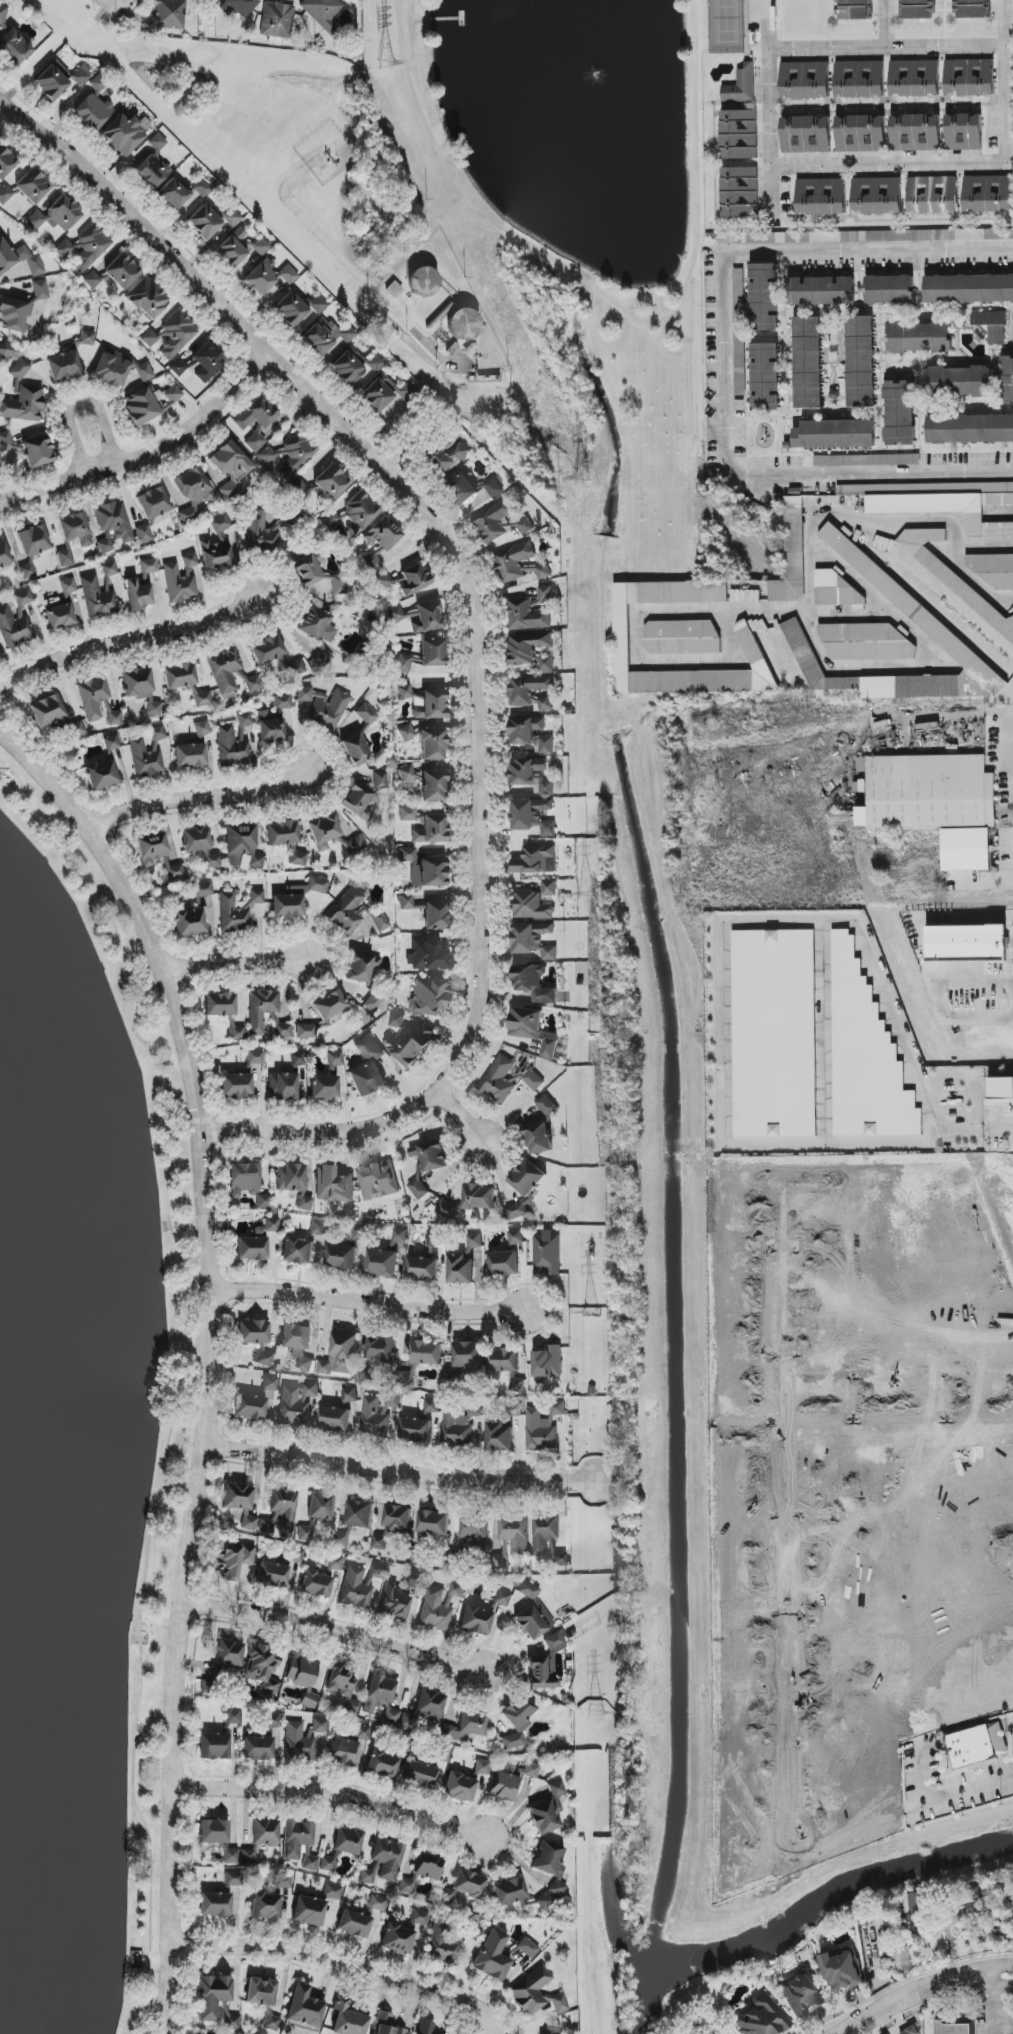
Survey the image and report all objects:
building: (239, 6)
building: (919, 9)
building: (971, 9)
building: (853, 10)
building: (322, 13)
building: (3, 14)
building: (167, 15)
pier: (461, 19)
pier: (444, 20)
road: (418, 21)
building: (277, 22)
road: (1001, 24)
road: (886, 25)
road: (410, 34)
building: (14, 48)
road: (884, 50)
power tower: (386, 65)
building: (970, 77)
building: (915, 78)
building: (60, 79)
building: (860, 79)
building: (805, 80)
building: (740, 84)
building: (93, 106)
road: (768, 106)
fountain: (583, 110)
building: (739, 132)
building: (964, 132)
building: (873, 133)
building: (916, 133)
building: (124, 134)
building: (848, 134)
building: (806, 135)
park: (572, 140)
building: (6, 162)
road: (1008, 162)
road: (943, 164)
building: (26, 188)
building: (739, 189)
building: (988, 194)
building: (182, 195)
building: (933, 195)
building: (877, 196)
building: (821, 197)
building: (56, 215)
building: (231, 217)
building: (204, 222)
building: (866, 236)
building: (260, 246)
building: (91, 247)
building: (64, 249)
building: (232, 249)
building: (19, 259)
building: (115, 273)
building: (268, 277)
building: (422, 282)
building: (968, 289)
building: (40, 290)
building: (890, 290)
building: (821, 291)
building: (764, 297)
building: (147, 298)
road: (609, 299)
building: (297, 308)
building: (14, 315)
building: (989, 318)
building: (464, 325)
building: (740, 328)
building: (171, 333)
building: (996, 335)
building: (325, 337)
building: (87, 338)
building: (919, 338)
building: (5, 350)
road: (723, 360)
building: (807, 362)
building: (860, 362)
building: (63, 366)
building: (355, 366)
building: (119, 369)
building: (765, 376)
building: (1008, 380)
building: (958, 381)
building: (378, 393)
building: (173, 394)
building: (22, 399)
road: (78, 404)
building: (142, 406)
building: (899, 413)
building: (257, 414)
road: (200, 422)
building: (970, 429)
building: (835, 434)
building: (5, 441)
building: (255, 441)
building: (37, 451)
building: (289, 454)
building: (446, 455)
building: (229, 459)
building: (866, 460)
road: (57, 482)
building: (331, 482)
power tower: (581, 482)
building: (492, 487)
building: (298, 488)
building: (462, 489)
building: (230, 490)
building: (192, 492)
building: (939, 502)
building: (153, 503)
building: (359, 511)
building: (114, 520)
building: (330, 520)
road: (878, 527)
building: (75, 529)
building: (260, 533)
building: (144, 534)
building: (383, 534)
building: (33, 540)
building: (105, 545)
road: (984, 545)
building: (217, 546)
road: (956, 546)
building: (4, 555)
building: (792, 555)
building: (65, 558)
building: (372, 562)
building: (514, 562)
building: (148, 568)
building: (109, 569)
building: (308, 569)
building: (869, 569)
building: (989, 570)
building: (543, 571)
building: (952, 576)
building: (181, 580)
building: (412, 580)
building: (383, 581)
building: (338, 583)
building: (68, 586)
road: (983, 587)
building: (836, 590)
building: (545, 594)
building: (138, 595)
building: (745, 596)
building: (97, 598)
road: (803, 612)
building: (528, 615)
building: (60, 616)
building: (420, 617)
road: (636, 619)
building: (315, 624)
building: (14, 629)
road: (480, 633)
building: (682, 637)
road: (128, 640)
building: (866, 642)
building: (952, 644)
building: (527, 647)
building: (267, 650)
building: (753, 650)
building: (432, 653)
building: (322, 658)
building: (814, 662)
building: (403, 663)
building: (547, 664)
road: (937, 667)
building: (224, 669)
building: (295, 669)
building: (179, 676)
building: (254, 684)
building: (140, 688)
building: (404, 691)
building: (532, 692)
building: (93, 696)
building: (203, 698)
building: (430, 705)
building: (104, 708)
building: (324, 708)
building: (47, 711)
building: (365, 713)
building: (115, 718)
building: (244, 719)
building: (275, 721)
building: (202, 729)
building: (406, 733)
building: (532, 734)
building: (156, 736)
building: (110, 742)
building: (432, 745)
building: (232, 748)
building: (355, 750)
building: (190, 756)
building: (145, 759)
road: (1009, 774)
building: (101, 775)
building: (531, 775)
building: (408, 776)
building: (379, 780)
building: (433, 786)
road: (194, 798)
building: (357, 802)
building: (934, 803)
building: (407, 814)
building: (532, 816)
building: (431, 830)
building: (282, 833)
building: (332, 836)
building: (200, 845)
building: (241, 847)
building: (152, 848)
building: (406, 855)
building: (296, 856)
building: (535, 860)
building: (175, 872)
building: (429, 873)
road: (988, 882)
building: (549, 888)
power tower: (587, 894)
building: (256, 896)
building: (296, 899)
building: (406, 902)
building: (530, 906)
building: (233, 914)
building: (435, 915)
building: (351, 916)
building: (189, 923)
building: (530, 937)
building: (549, 953)
building: (426, 955)
road: (234, 960)
road: (724, 965)
building: (359, 967)
building: (533, 983)
building: (428, 997)
building: (374, 1001)
building: (329, 1005)
building: (224, 1012)
building: (266, 1013)
building: (532, 1029)
building: (306, 1031)
road: (824, 1032)
building: (774, 1033)
building: (408, 1040)
building: (865, 1056)
building: (255, 1057)
building: (335, 1059)
building: (367, 1067)
building: (506, 1080)
building: (286, 1081)
building: (236, 1085)
building: (324, 1087)
building: (1001, 1088)
building: (546, 1105)
road: (461, 1116)
road: (975, 1127)
building: (538, 1137)
building: (427, 1163)
building: (290, 1178)
building: (527, 1178)
building: (378, 1180)
building: (249, 1183)
building: (333, 1185)
building: (479, 1197)
building: (304, 1202)
building: (448, 1209)
building: (516, 1211)
building: (400, 1235)
building: (516, 1237)
building: (257, 1241)
building: (302, 1245)
building: (434, 1246)
building: (547, 1253)
building: (341, 1256)
building: (381, 1262)
building: (464, 1262)
building: (503, 1264)
building: (422, 1269)
road: (369, 1305)
power tower: (591, 1314)
building: (253, 1332)
building: (297, 1345)
building: (382, 1351)
building: (426, 1352)
building: (468, 1354)
building: (340, 1355)
road: (208, 1357)
building: (262, 1358)
building: (504, 1361)
building: (547, 1363)
building: (407, 1378)
building: (270, 1383)
road: (898, 1384)
building: (349, 1395)
road: (830, 1397)
building: (296, 1403)
building: (431, 1406)
building: (250, 1407)
road: (898, 1408)
building: (510, 1411)
building: (378, 1412)
building: (334, 1419)
building: (460, 1425)
building: (542, 1427)
building: (415, 1429)
building: (499, 1437)
road: (399, 1472)
building: (240, 1503)
building: (321, 1507)
building: (280, 1513)
building: (359, 1514)
building: (396, 1518)
road: (785, 1519)
building: (433, 1522)
road: (843, 1522)
building: (474, 1533)
building: (305, 1534)
building: (515, 1535)
building: (547, 1539)
building: (341, 1540)
building: (379, 1542)
building: (297, 1555)
building: (233, 1559)
building: (500, 1561)
building: (272, 1575)
building: (321, 1579)
building: (362, 1586)
building: (399, 1596)
building: (502, 1598)
building: (440, 1607)
building: (532, 1614)
building: (475, 1620)
road: (336, 1632)
building: (229, 1654)
building: (545, 1664)
building: (263, 1669)
building: (303, 1677)
building: (343, 1686)
building: (379, 1693)
road: (845, 1699)
building: (430, 1704)
building: (391, 1716)
power tower: (595, 1716)
building: (231, 1717)
building: (273, 1720)
building: (408, 1721)
building: (517, 1722)
building: (465, 1727)
building: (362, 1733)
building: (297, 1743)
building: (977, 1744)
building: (214, 1746)
building: (258, 1749)
building: (343, 1751)
building: (382, 1764)
building: (530, 1770)
building: (420, 1775)
building: (465, 1782)
building: (504, 1786)
road: (334, 1791)
road: (949, 1794)
building: (548, 1810)
building: (213, 1831)
building: (265, 1832)
building: (347, 1841)
building: (300, 1844)
building: (229, 1855)
building: (248, 1856)
building: (547, 1859)
building: (327, 1863)
building: (384, 1863)
building: (429, 1866)
building: (233, 1879)
building: (408, 1884)
building: (463, 1886)
building: (332, 1892)
building: (509, 1892)
building: (377, 1903)
building: (914, 1903)
building: (215, 1904)
building: (265, 1906)
building: (308, 1911)
building: (354, 1923)
building: (404, 1933)
building: (443, 1946)
building: (528, 1948)
building: (492, 1956)
building: (904, 1958)
road: (341, 1966)
building: (842, 1971)
road: (922, 1989)
building: (261, 1992)
building: (538, 1992)
building: (801, 1994)
building: (212, 1996)
road: (993, 2004)
building: (304, 2007)
building: (762, 2018)
building: (348, 2019)
road: (1003, 2020)
building: (231, 2022)
building: (271, 2023)
building: (386, 2025)
building: (425, 2027)
building: (954, 2028)
building: (909, 2031)

